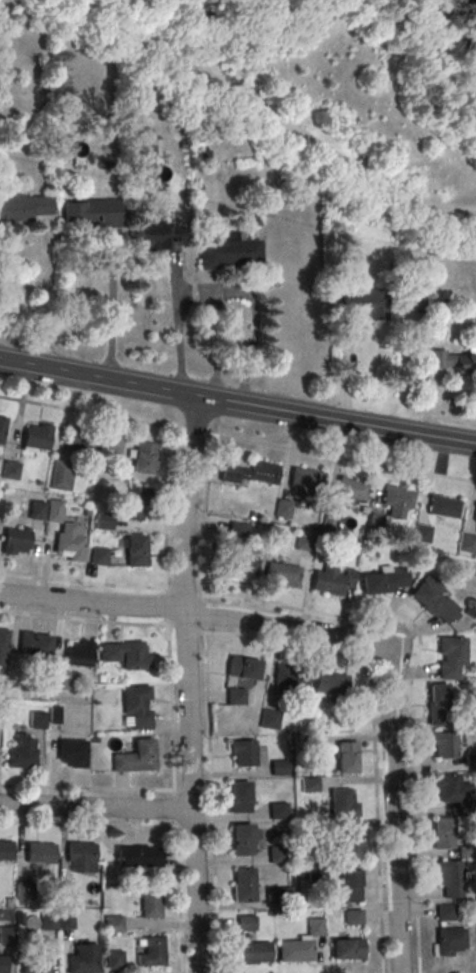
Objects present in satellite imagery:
road: (313, 8)
road: (313, 8)
road: (202, 21)
road: (365, 27)
road: (427, 61)
park: (332, 90)
road: (268, 115)
building: (145, 155)
building: (24, 209)
building: (93, 214)
building: (155, 238)
building: (228, 251)
road: (210, 285)
road: (232, 291)
road: (47, 293)
road: (112, 305)
building: (362, 306)
road: (177, 318)
building: (452, 363)
road: (345, 372)
road: (237, 403)
road: (435, 403)
building: (2, 429)
building: (36, 438)
road: (238, 440)
building: (82, 441)
building: (112, 445)
building: (143, 457)
building: (10, 472)
building: (250, 474)
building: (61, 477)
building: (306, 481)
building: (352, 491)
building: (397, 499)
building: (136, 503)
building: (0, 506)
building: (282, 508)
building: (445, 508)
building: (36, 512)
building: (474, 516)
building: (103, 521)
building: (422, 533)
building: (17, 540)
building: (304, 540)
building: (70, 541)
building: (467, 543)
building: (135, 550)
building: (99, 555)
building: (241, 569)
building: (282, 576)
building: (385, 580)
building: (328, 585)
building: (433, 601)
road: (167, 608)
road: (193, 613)
building: (33, 645)
building: (3, 647)
building: (78, 653)
building: (126, 653)
building: (449, 656)
building: (242, 667)
building: (289, 676)
building: (59, 679)
building: (330, 683)
road: (187, 684)
building: (235, 696)
building: (436, 703)
building: (137, 705)
road: (171, 709)
building: (1, 713)
building: (268, 719)
building: (37, 721)
building: (442, 744)
building: (72, 754)
building: (243, 754)
building: (346, 756)
building: (21, 759)
building: (136, 759)
building: (279, 766)
road: (210, 784)
building: (308, 784)
building: (448, 788)
building: (240, 799)
building: (343, 802)
road: (96, 806)
road: (392, 807)
building: (278, 809)
road: (175, 810)
building: (443, 832)
building: (348, 841)
building: (242, 842)
building: (2, 852)
building: (39, 854)
building: (80, 854)
building: (276, 854)
building: (138, 858)
building: (449, 877)
building: (351, 884)
building: (244, 887)
building: (24, 893)
building: (66, 894)
road: (179, 900)
building: (147, 903)
building: (444, 912)
building: (48, 923)
building: (246, 923)
building: (113, 926)
building: (6, 937)
building: (449, 943)
building: (151, 952)
building: (347, 952)
building: (295, 953)
building: (254, 954)
building: (84, 959)
building: (114, 961)
building: (35, 964)
building: (4, 965)

